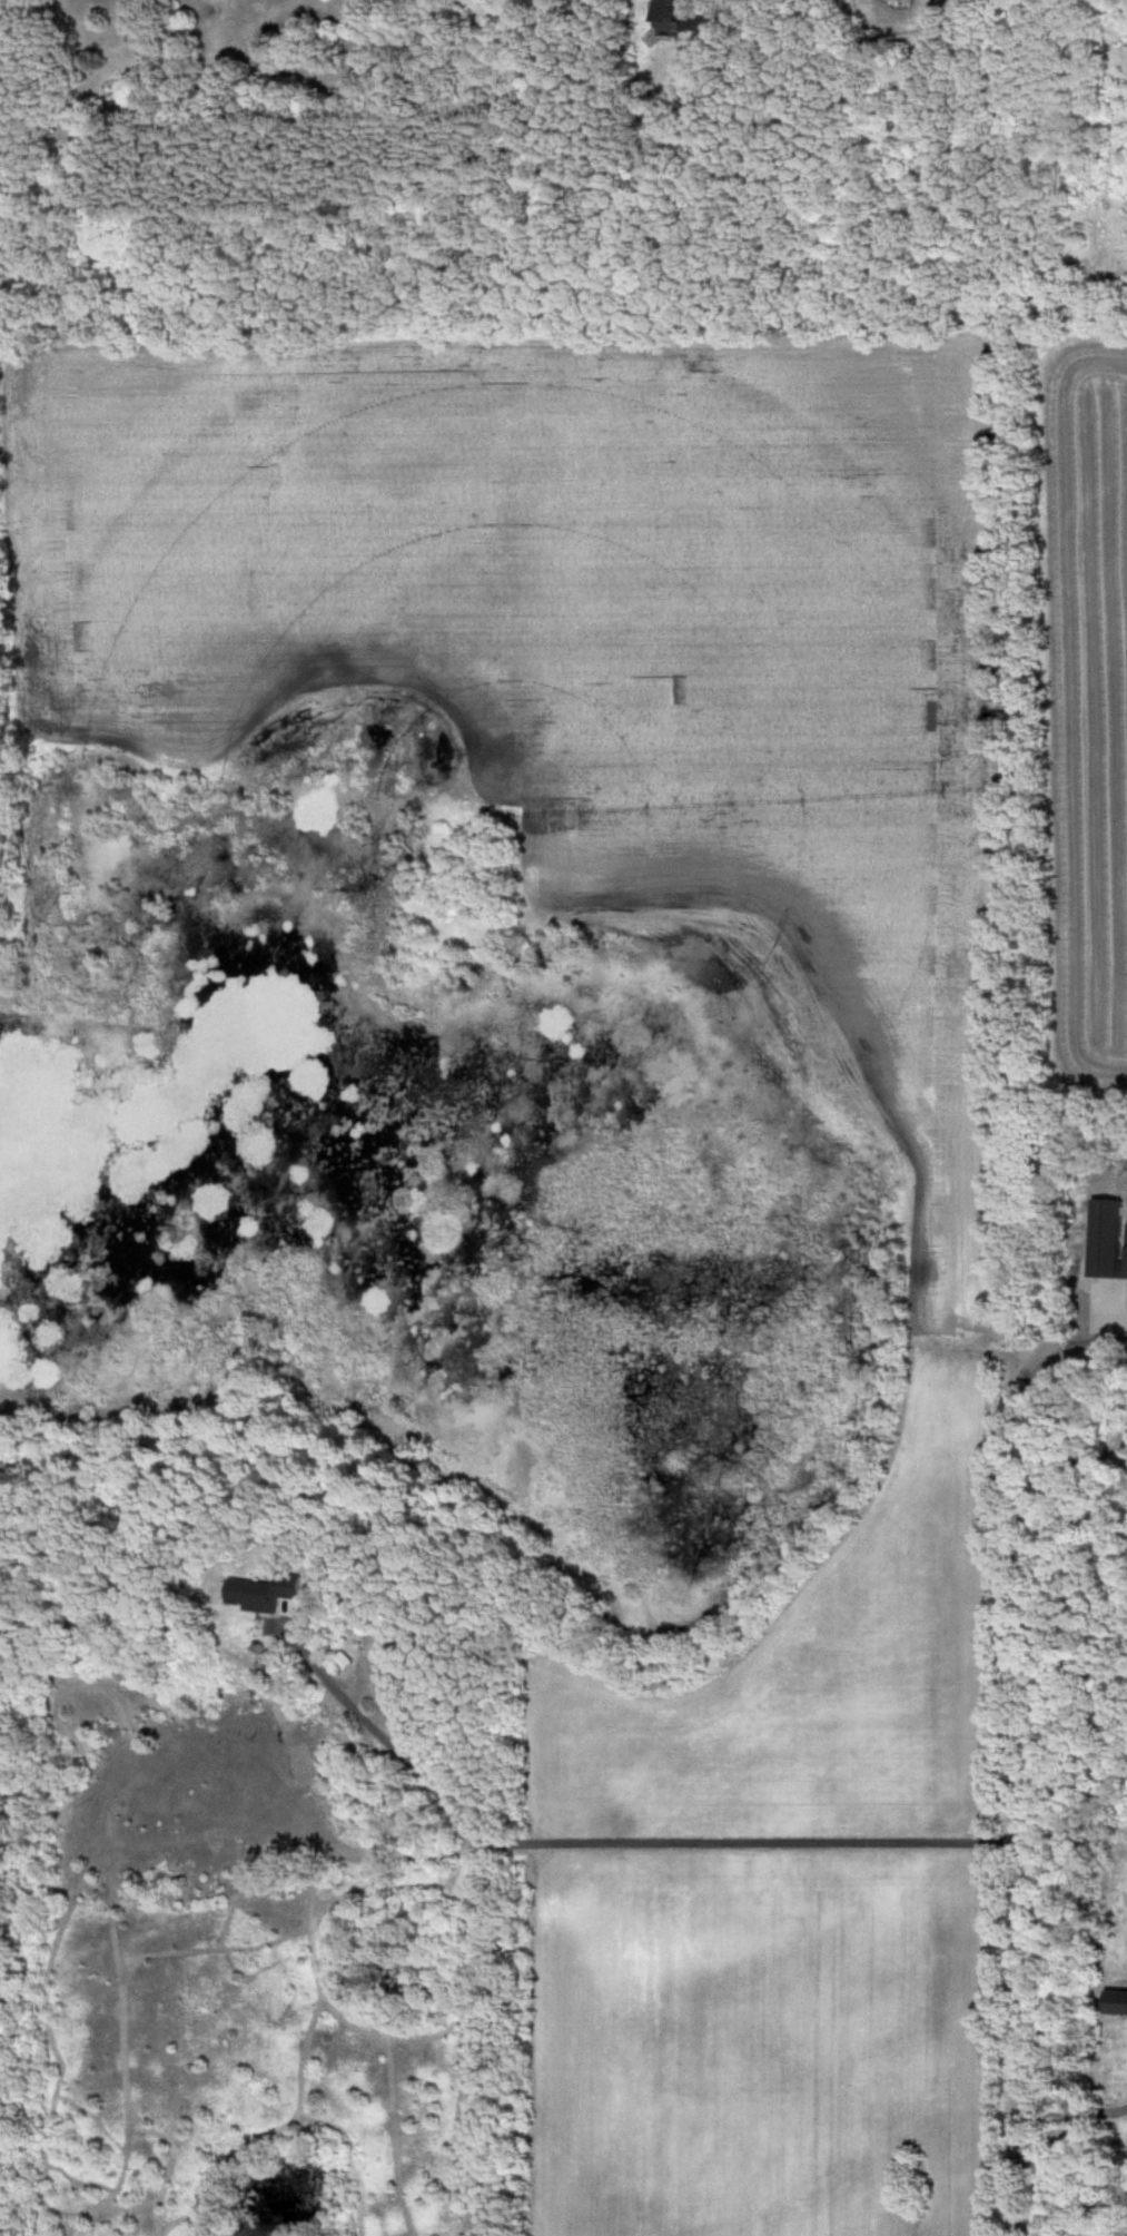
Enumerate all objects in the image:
building: (682, 21)
building: (1110, 1240)
road: (1095, 1347)
road: (1017, 1780)
road: (642, 1844)
building: (1117, 2003)
road: (1074, 2112)

